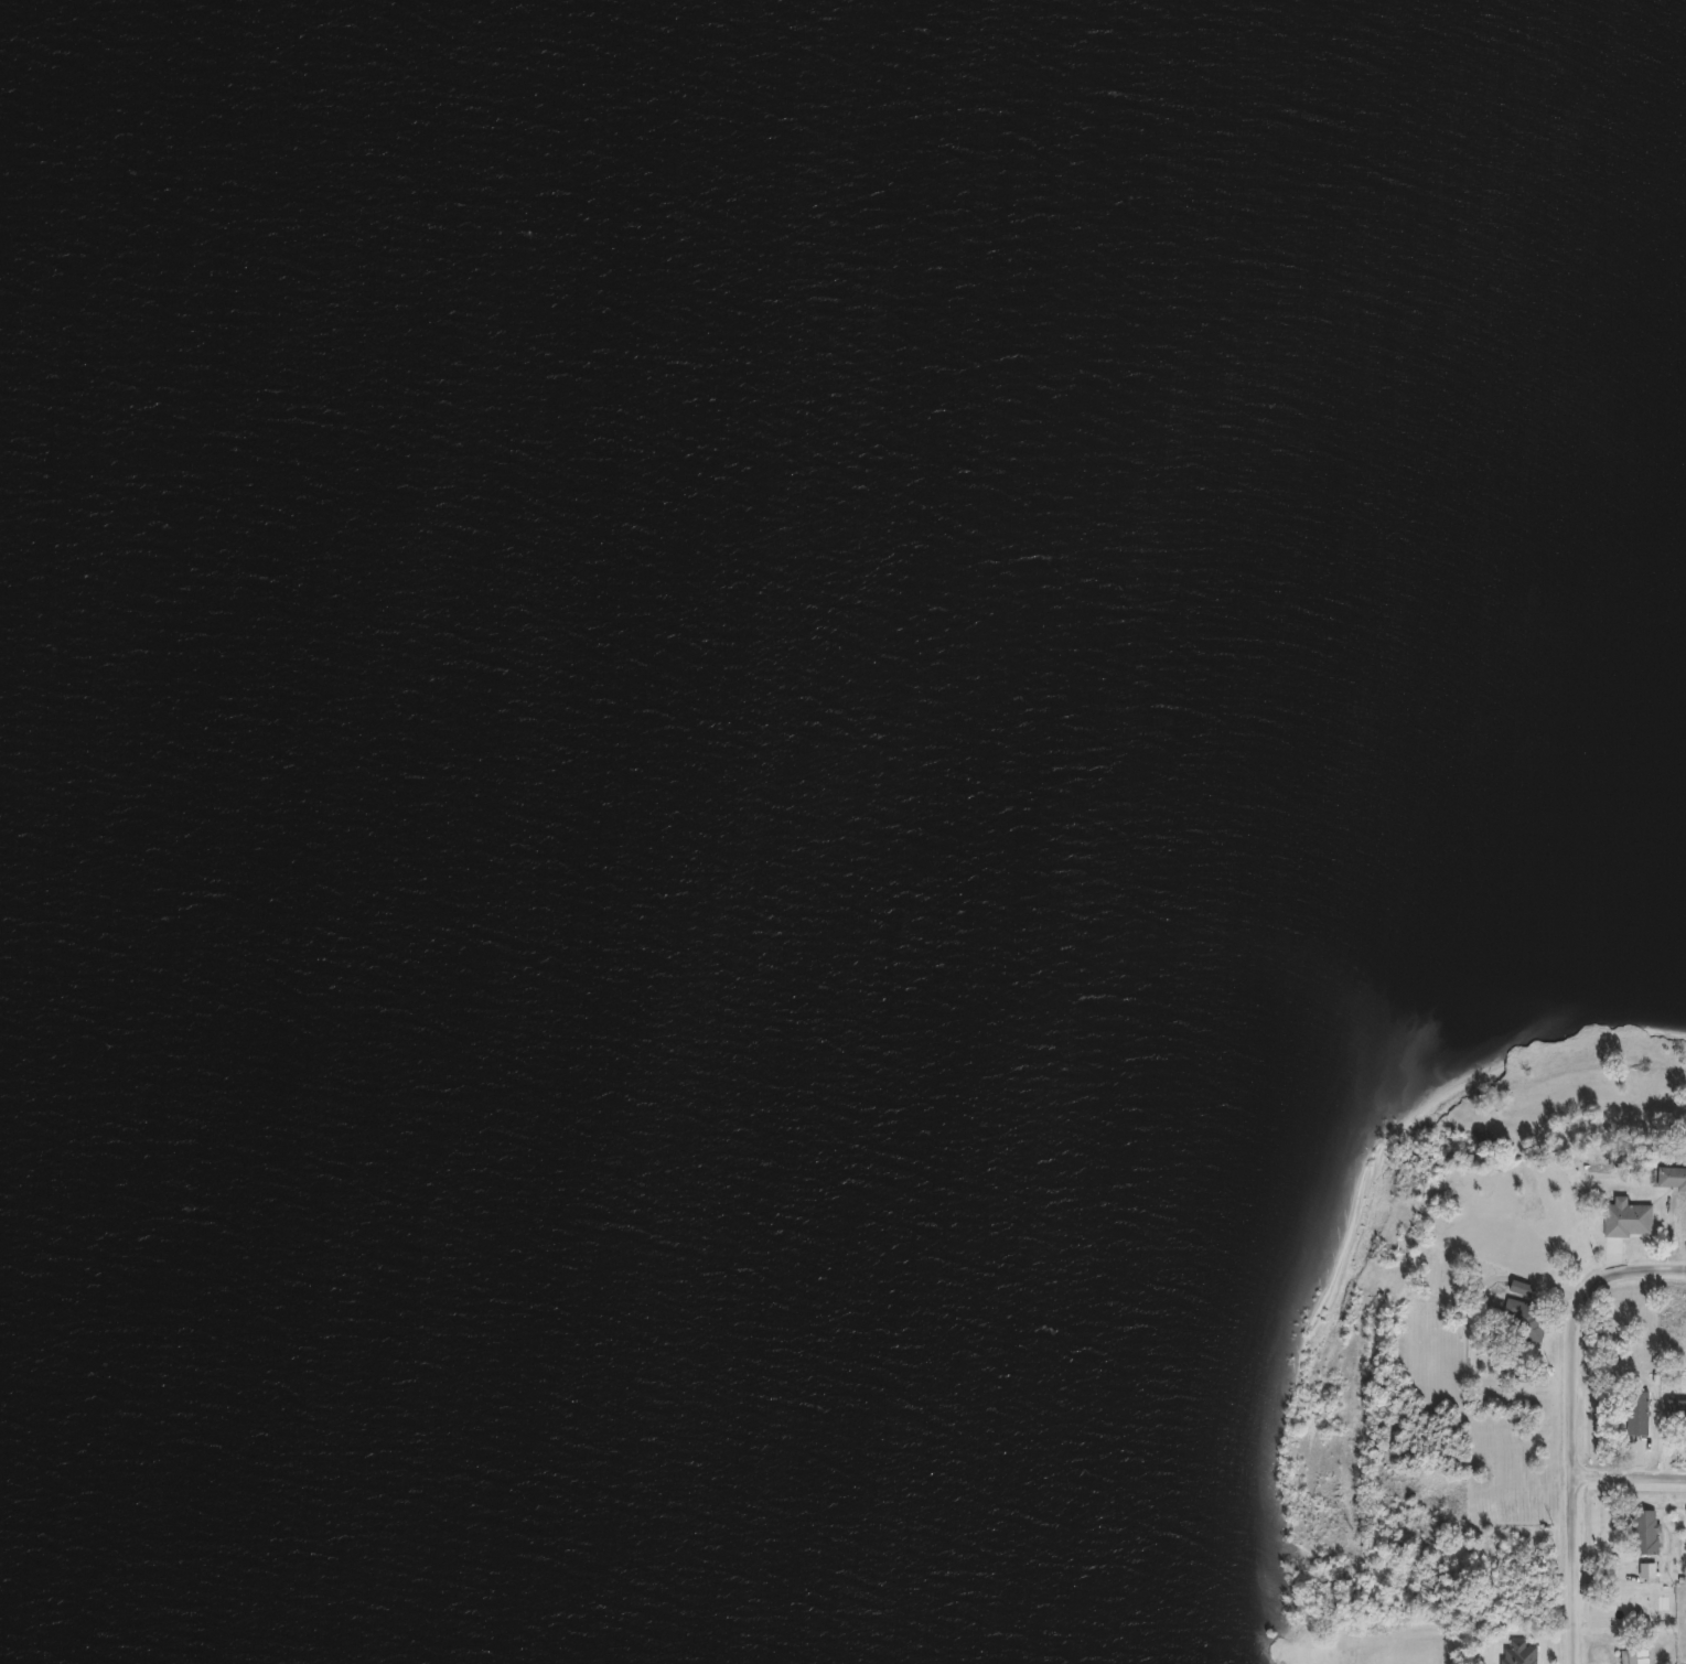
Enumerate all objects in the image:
building: (1669, 1178)
building: (1624, 1220)
building: (1521, 1321)
building: (1641, 1413)
road: (1580, 1426)
road: (1634, 1483)
building: (1641, 1533)
building: (1516, 1653)
building: (1634, 1656)

